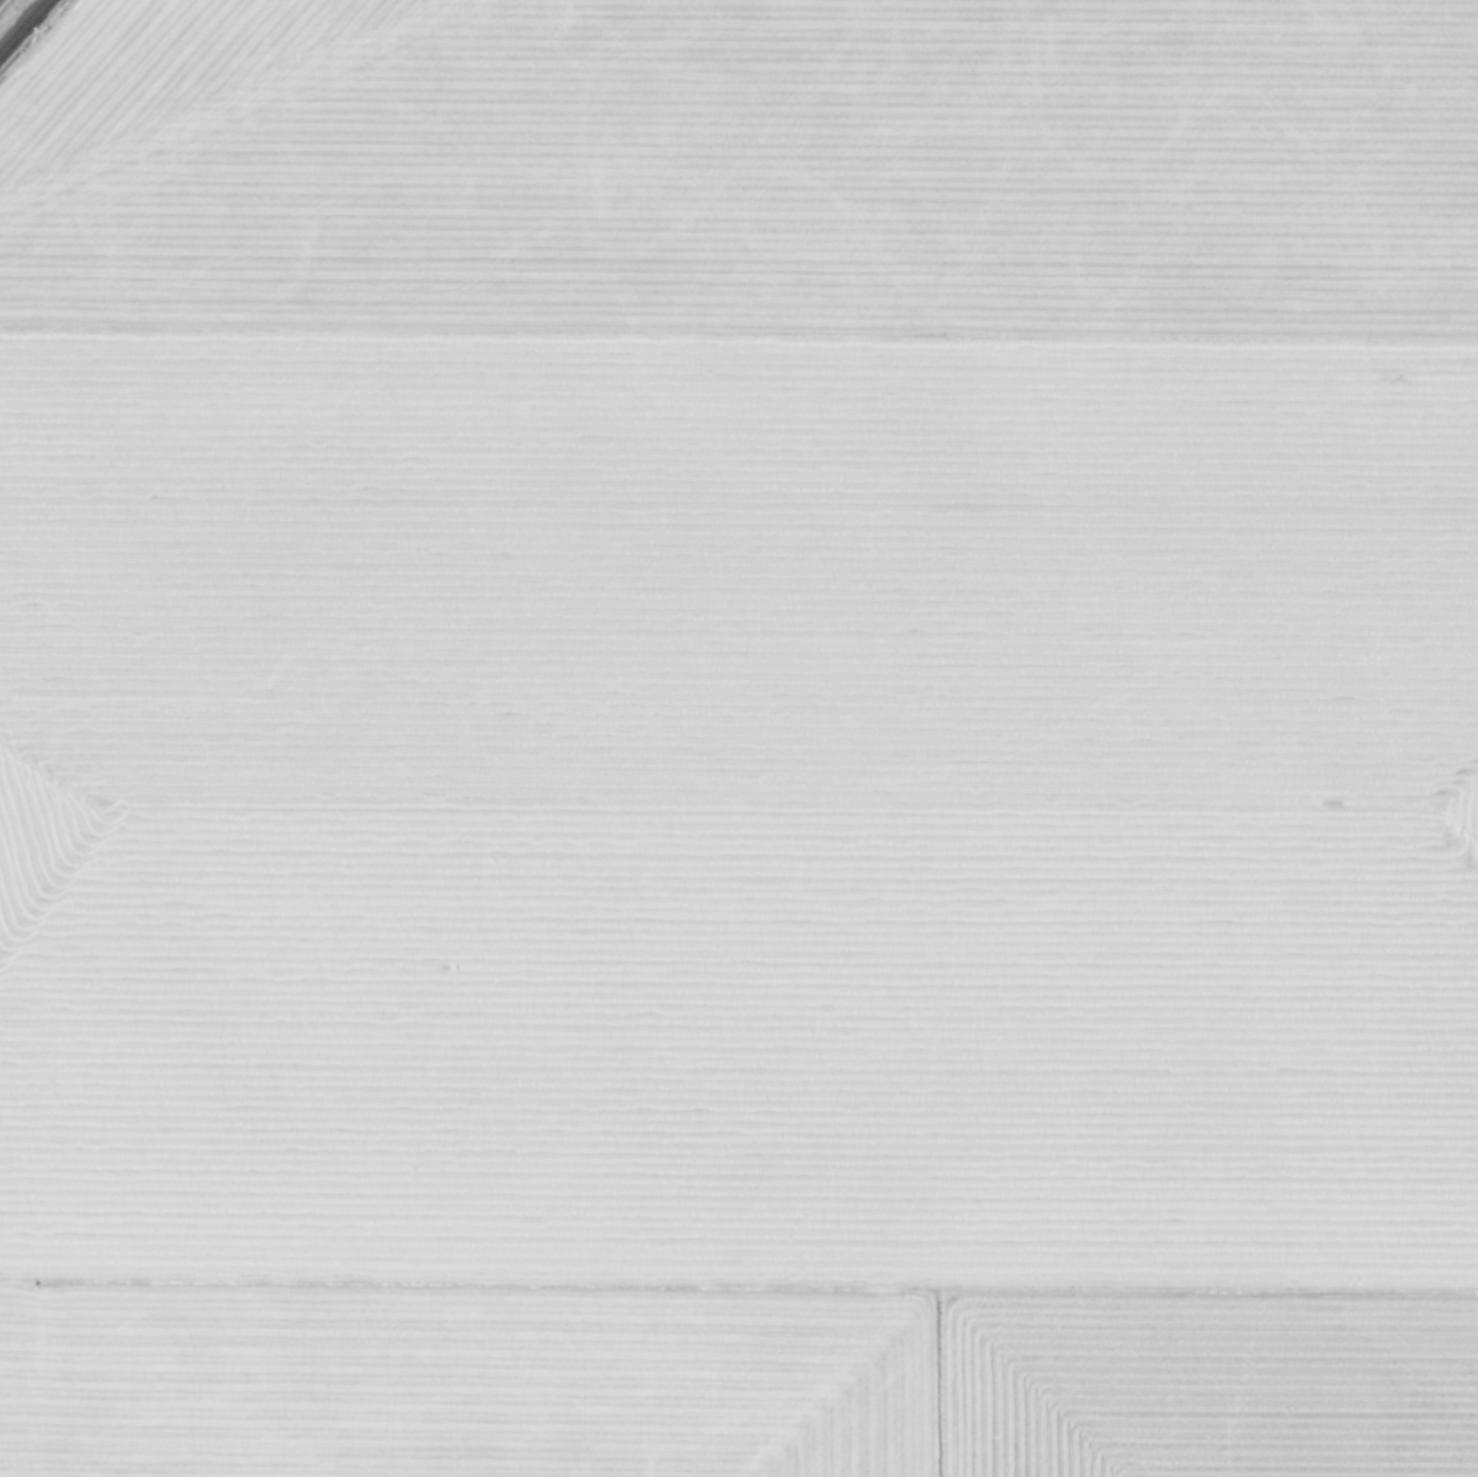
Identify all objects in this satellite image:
railway: (24, 27)
crop: (740, 740)

